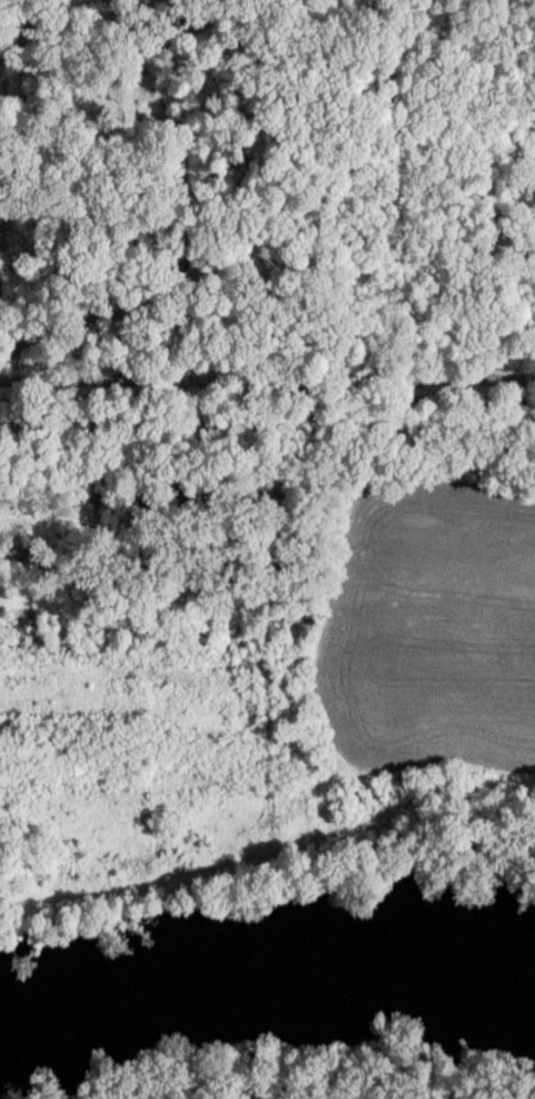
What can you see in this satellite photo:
road: (267, 384)
road: (267, 438)
river: (267, 979)

